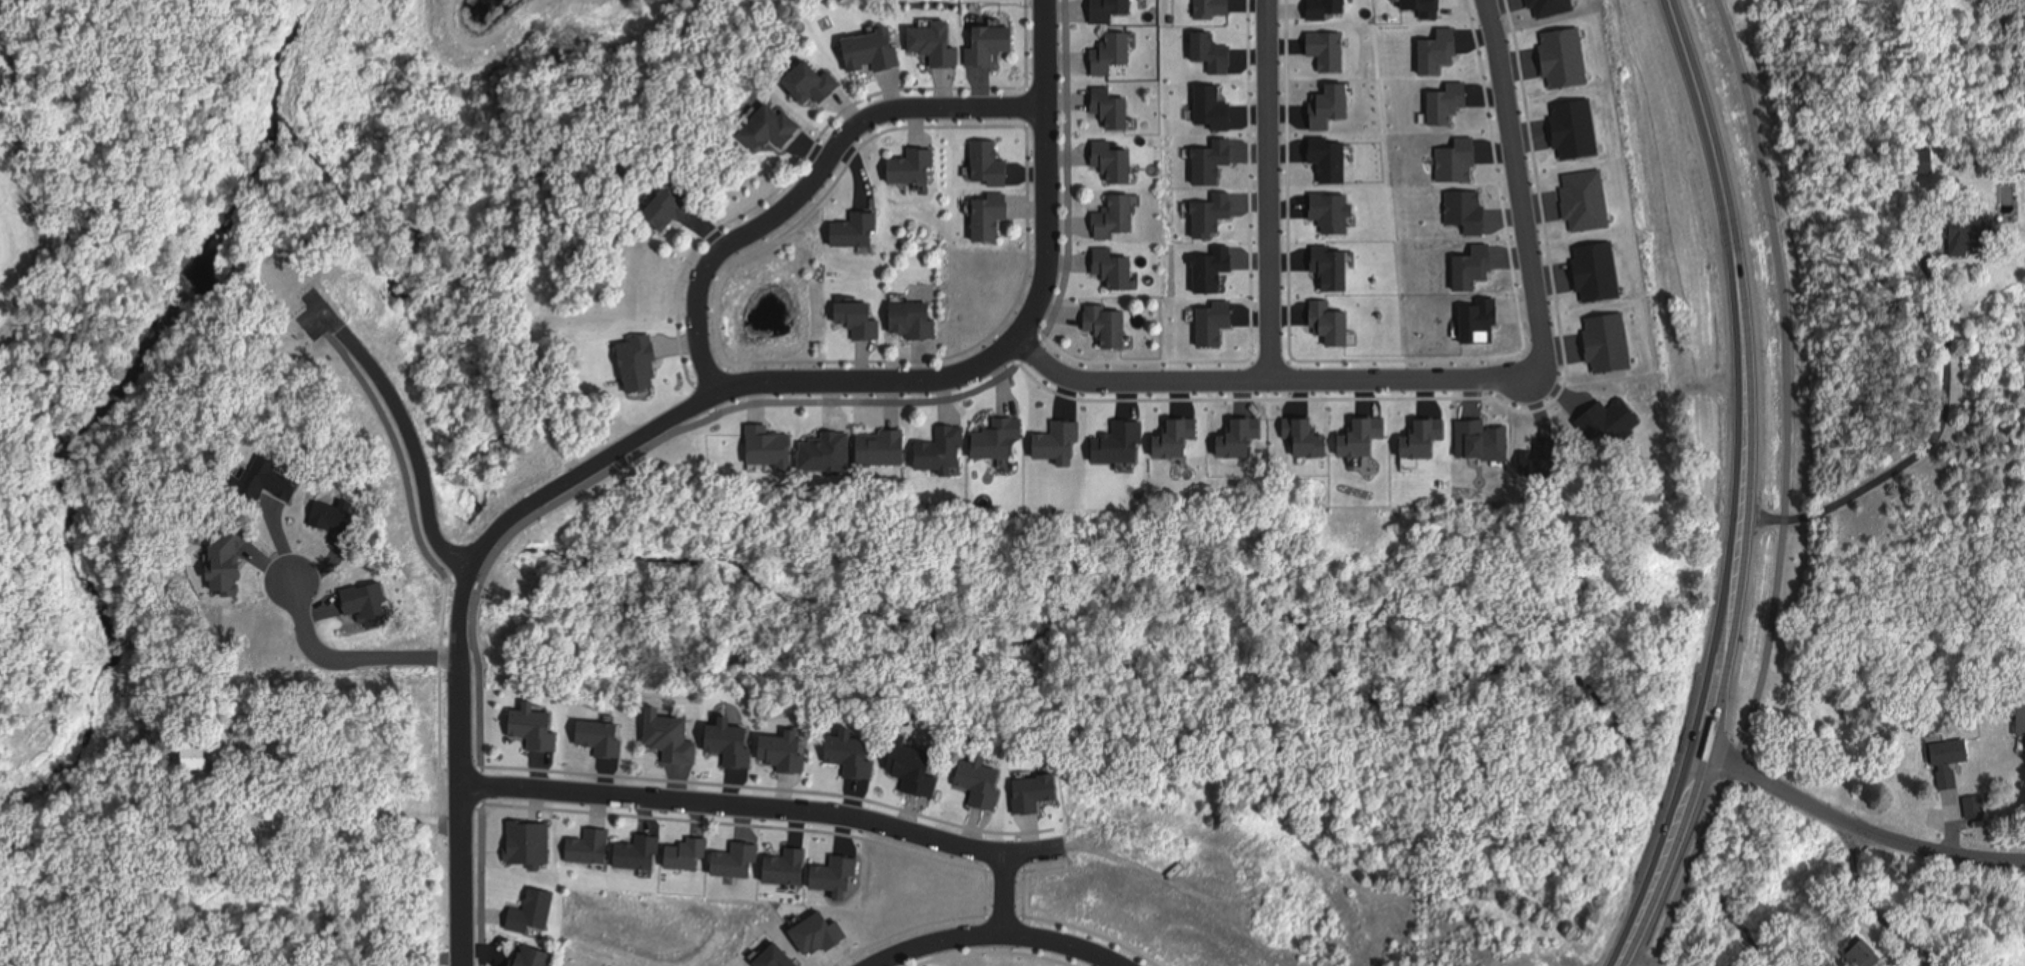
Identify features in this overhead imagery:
building: (1554, 3)
building: (1217, 6)
building: (1427, 7)
building: (1330, 9)
building: (1112, 10)
building: (1216, 43)
building: (992, 45)
building: (1568, 45)
building: (934, 48)
building: (1439, 51)
building: (876, 52)
building: (1329, 53)
building: (1115, 55)
building: (819, 83)
building: (1213, 98)
building: (1449, 102)
building: (1329, 106)
building: (1114, 109)
building: (1575, 120)
building: (825, 125)
building: (774, 130)
building: (1461, 153)
building: (1208, 155)
building: (1917, 161)
building: (1116, 163)
building: (990, 165)
building: (1332, 166)
building: (918, 167)
road: (810, 181)
road: (1519, 182)
road: (1269, 189)
building: (1586, 193)
building: (1465, 201)
building: (1213, 205)
building: (676, 210)
building: (1338, 216)
building: (993, 217)
building: (1117, 219)
crop: (11, 222)
building: (853, 235)
building: (1956, 237)
building: (1469, 256)
building: (1216, 259)
building: (1595, 264)
building: (1333, 268)
building: (1116, 271)
building: (1475, 312)
building: (1214, 317)
building: (1330, 317)
building: (862, 321)
building: (915, 323)
building: (1109, 325)
building: (1608, 333)
building: (635, 359)
park: (138, 372)
road: (1136, 378)
road: (1411, 378)
road: (697, 403)
road: (722, 413)
building: (1115, 433)
building: (1359, 435)
building: (1479, 435)
building: (1054, 436)
building: (1171, 436)
building: (1300, 436)
building: (763, 437)
building: (1233, 438)
road: (411, 439)
building: (1417, 440)
building: (997, 441)
building: (823, 445)
building: (945, 447)
building: (887, 448)
road: (1921, 454)
road: (401, 465)
road: (1743, 487)
road: (1785, 490)
road: (345, 653)
building: (2017, 717)
building: (674, 740)
building: (196, 759)
building: (1945, 765)
road: (762, 803)
building: (1966, 809)
road: (342, 826)
road: (1857, 827)
road: (1010, 895)
road: (997, 932)
building: (1861, 954)
building: (540, 957)
road: (1639, 959)
building: (511, 965)

